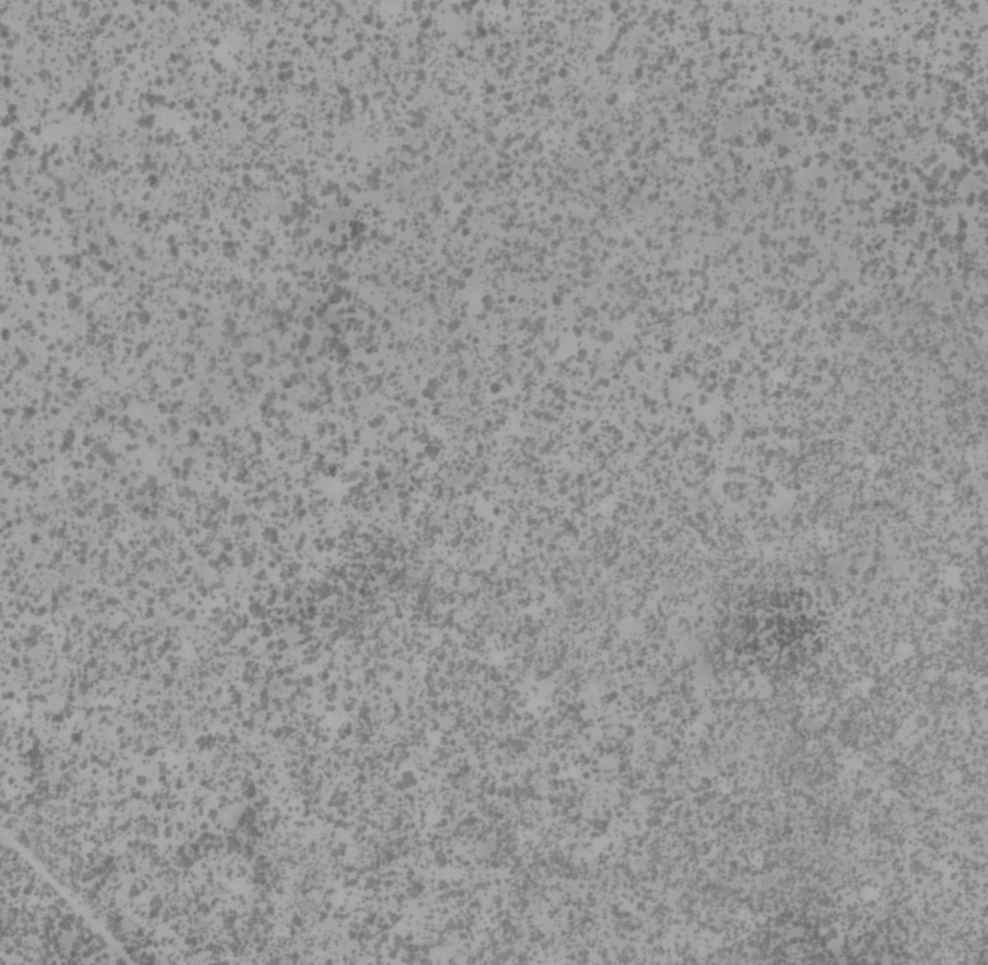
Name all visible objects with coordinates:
road: (65, 895)

